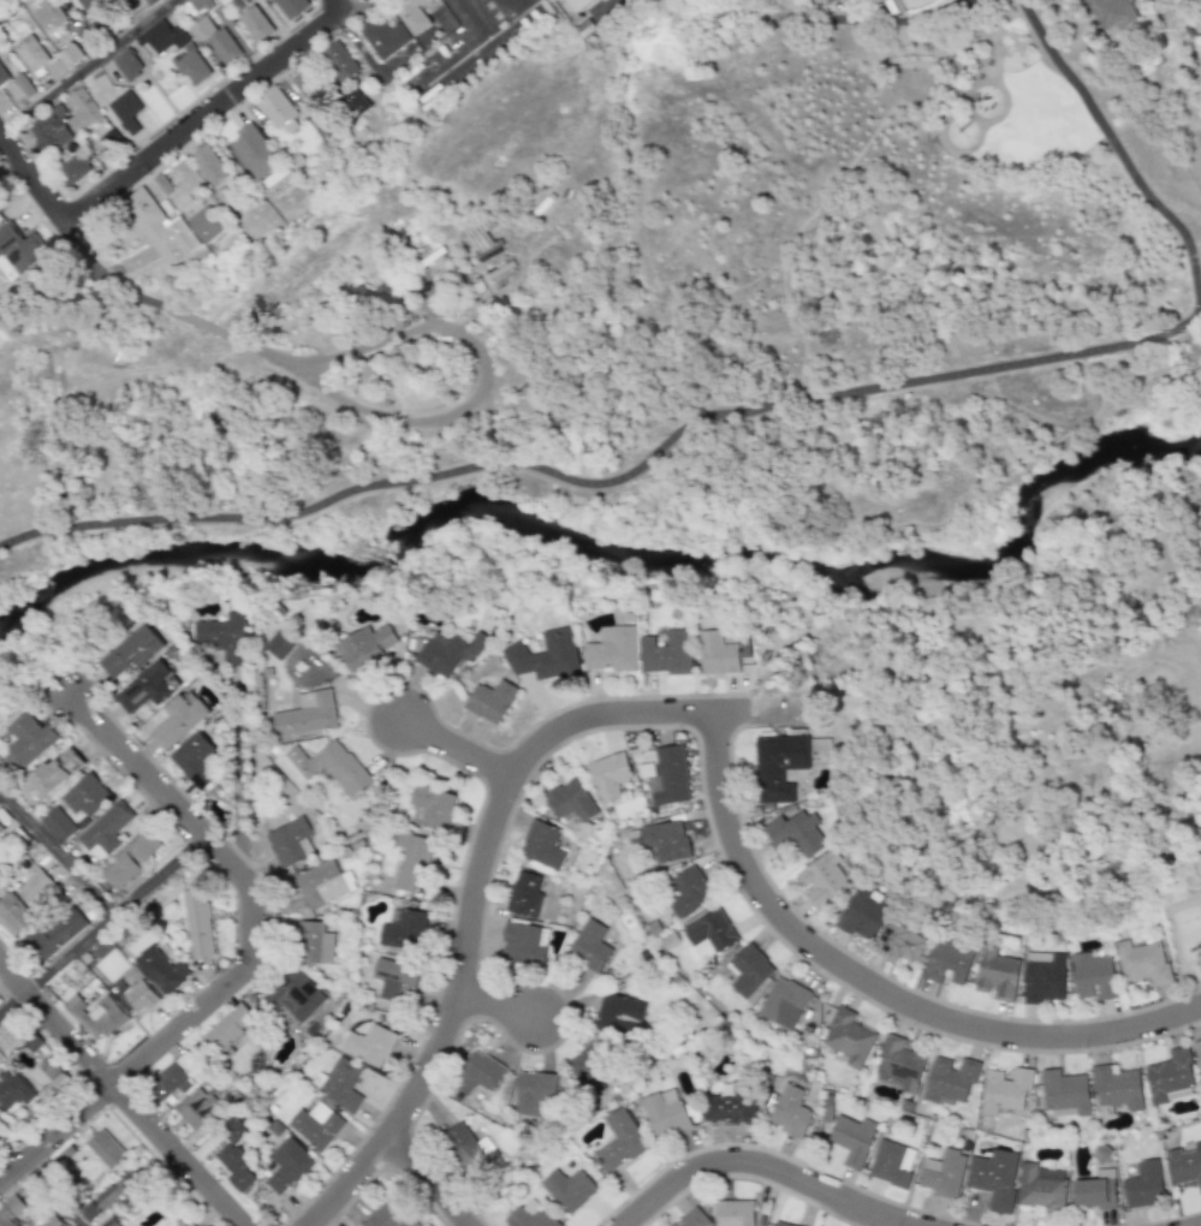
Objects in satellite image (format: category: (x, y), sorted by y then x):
building: (827, 0)
building: (1129, 0)
building: (874, 1)
road: (513, 2)
road: (341, 4)
building: (201, 5)
building: (293, 7)
building: (582, 7)
road: (949, 7)
building: (1108, 12)
building: (49, 16)
road: (845, 19)
building: (257, 24)
building: (386, 37)
building: (218, 40)
road: (357, 42)
road: (466, 44)
building: (31, 54)
building: (190, 54)
building: (343, 61)
building: (129, 64)
road: (88, 66)
building: (2, 77)
building: (307, 88)
building: (357, 102)
building: (84, 109)
building: (283, 111)
building: (127, 112)
road: (204, 114)
building: (52, 129)
building: (257, 151)
road: (1117, 154)
building: (212, 165)
building: (75, 169)
road: (32, 179)
building: (207, 225)
building: (162, 228)
park: (906, 230)
building: (480, 233)
building: (19, 251)
building: (371, 299)
road: (386, 339)
road: (610, 471)
river: (605, 542)
building: (224, 637)
building: (280, 644)
building: (364, 648)
building: (611, 649)
building: (133, 651)
building: (448, 651)
building: (665, 654)
building: (717, 654)
building: (545, 656)
building: (145, 689)
building: (489, 701)
building: (307, 714)
building: (178, 721)
building: (29, 742)
park: (1164, 744)
road: (457, 748)
building: (195, 760)
building: (331, 766)
building: (778, 766)
building: (55, 772)
building: (666, 775)
building: (608, 776)
road: (243, 786)
road: (157, 788)
road: (2, 791)
building: (85, 796)
building: (570, 801)
building: (433, 807)
building: (57, 825)
building: (1, 829)
building: (105, 829)
building: (796, 833)
building: (666, 840)
building: (290, 843)
building: (541, 845)
road: (61, 855)
building: (130, 858)
building: (410, 862)
building: (822, 880)
building: (322, 883)
building: (34, 888)
road: (475, 892)
building: (689, 892)
building: (524, 894)
building: (864, 913)
building: (12, 915)
building: (197, 923)
road: (102, 928)
building: (404, 932)
building: (53, 934)
building: (711, 934)
building: (314, 944)
building: (899, 944)
building: (522, 945)
building: (589, 946)
building: (949, 962)
building: (1142, 962)
building: (160, 970)
building: (748, 970)
building: (997, 974)
building: (1093, 976)
building: (1044, 977)
building: (394, 981)
road: (875, 986)
building: (295, 995)
building: (139, 996)
building: (784, 1002)
road: (497, 1008)
building: (95, 1016)
building: (227, 1029)
building: (848, 1038)
building: (604, 1041)
building: (369, 1042)
road: (157, 1047)
building: (1197, 1048)
building: (898, 1065)
building: (477, 1073)
building: (172, 1076)
building: (50, 1077)
building: (1170, 1077)
building: (950, 1079)
building: (339, 1084)
building: (13, 1089)
building: (1116, 1089)
building: (1005, 1090)
building: (534, 1091)
building: (1064, 1093)
road: (121, 1095)
building: (732, 1105)
building: (197, 1108)
building: (790, 1112)
building: (665, 1113)
building: (0, 1123)
building: (316, 1125)
building: (854, 1139)
building: (619, 1142)
building: (105, 1149)
building: (469, 1150)
building: (891, 1163)
road: (757, 1165)
building: (1185, 1165)
building: (287, 1166)
building: (944, 1173)
building: (994, 1178)
road: (429, 1180)
building: (1143, 1185)
building: (1041, 1188)
building: (569, 1189)
building: (125, 1190)
building: (1095, 1190)
road: (52, 1194)
building: (10, 1210)
building: (735, 1213)
building: (390, 1215)
building: (530, 1215)
building: (691, 1219)
building: (780, 1224)
building: (191, 1225)

